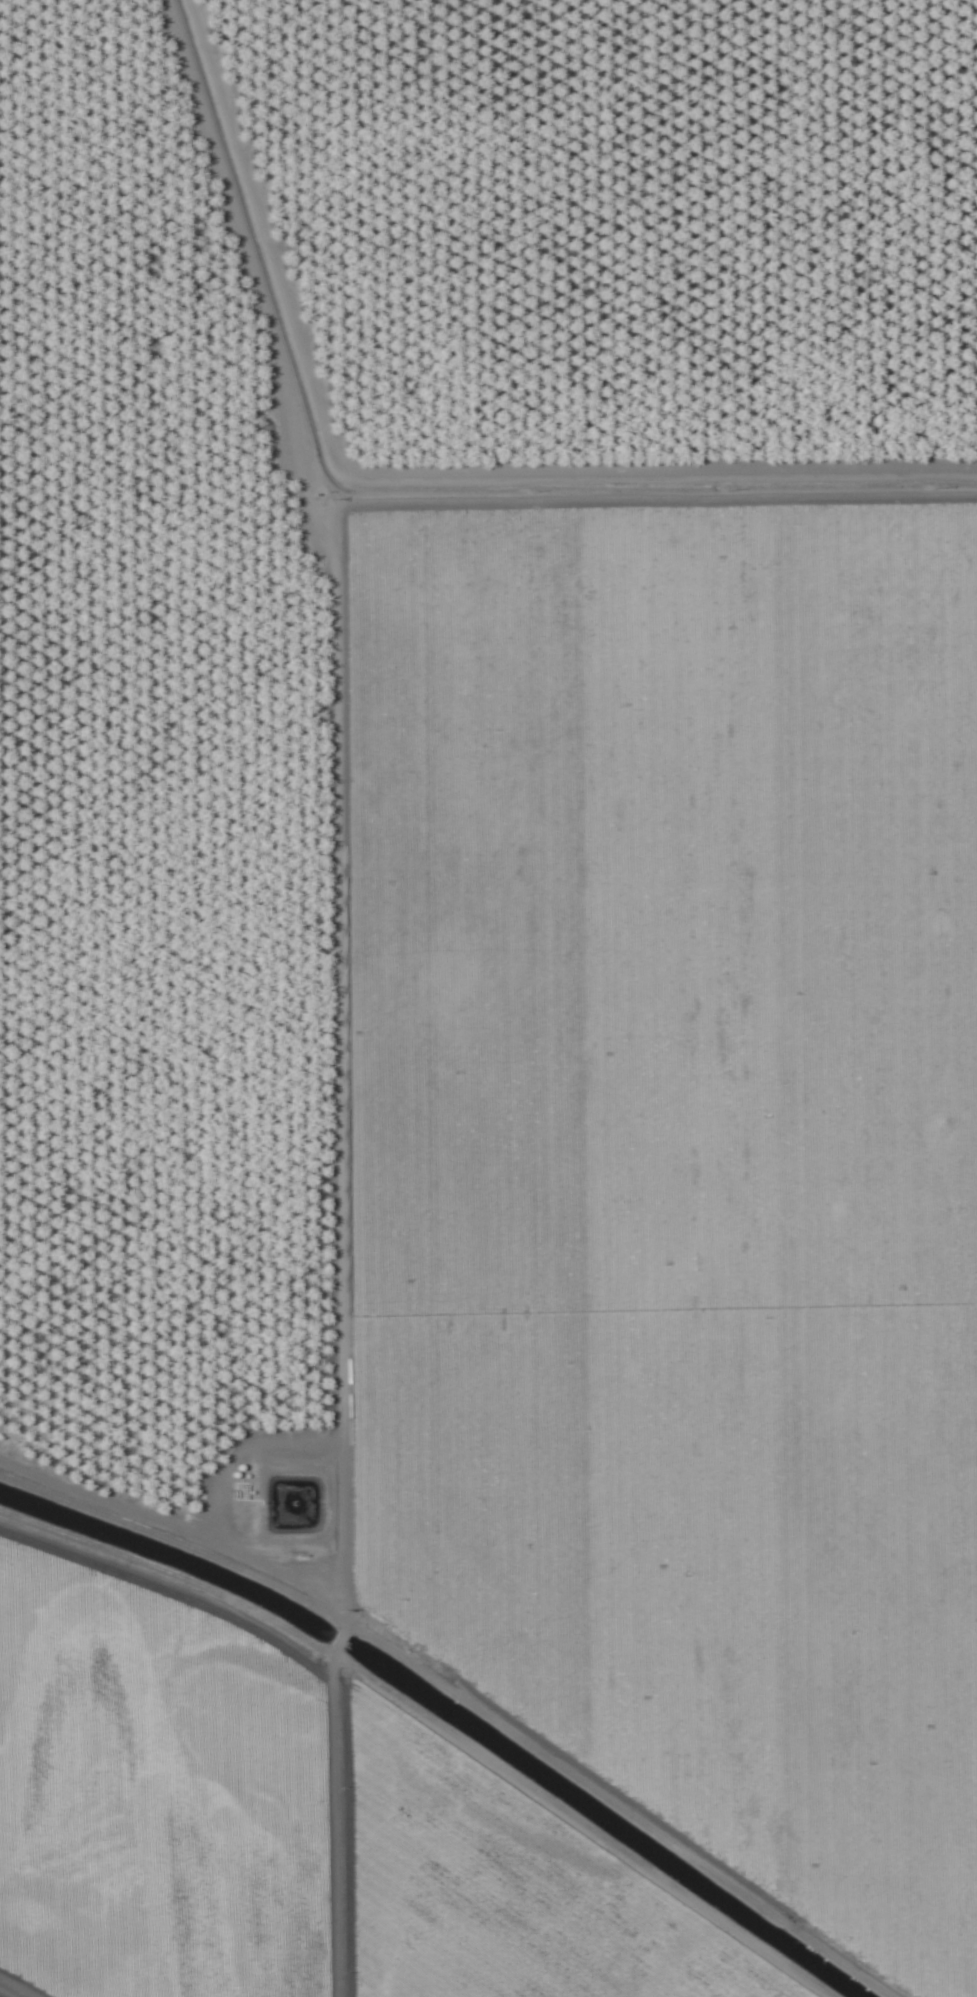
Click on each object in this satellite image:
crop: (488, 998)

